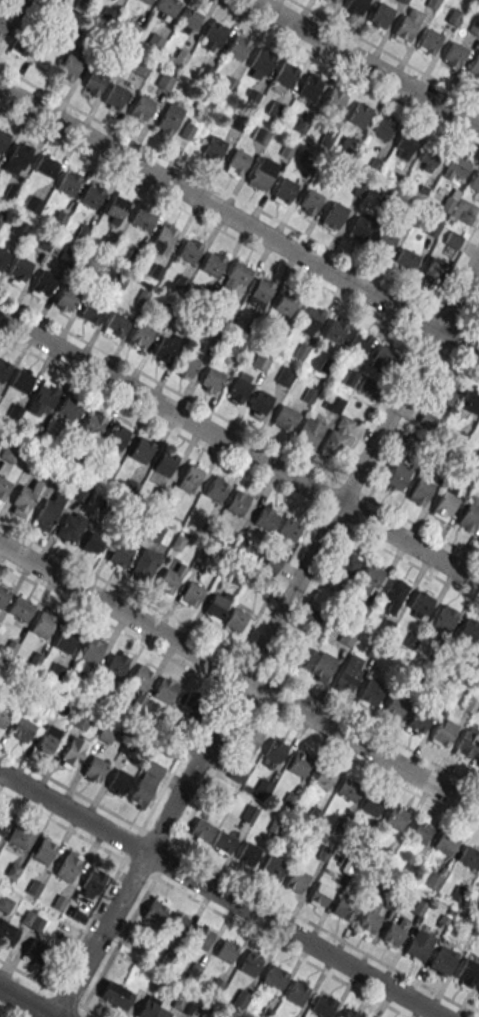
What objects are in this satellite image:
building: (146, 1)
building: (333, 1)
building: (403, 1)
building: (431, 4)
building: (167, 6)
building: (355, 6)
building: (381, 15)
building: (453, 16)
building: (191, 19)
building: (3, 26)
building: (474, 27)
building: (405, 28)
building: (214, 34)
building: (154, 42)
building: (430, 42)
building: (23, 44)
building: (238, 48)
road: (384, 52)
building: (454, 54)
building: (178, 56)
building: (262, 60)
road: (363, 63)
building: (69, 67)
building: (141, 67)
building: (474, 68)
road: (347, 72)
building: (286, 74)
building: (165, 81)
building: (93, 82)
building: (310, 88)
building: (115, 97)
building: (335, 102)
building: (141, 109)
building: (359, 114)
building: (169, 120)
building: (383, 127)
building: (187, 130)
building: (3, 139)
building: (407, 140)
building: (347, 147)
building: (214, 149)
building: (17, 158)
building: (430, 158)
building: (238, 163)
building: (46, 165)
building: (456, 166)
building: (261, 176)
building: (68, 183)
building: (474, 183)
building: (11, 191)
building: (284, 191)
building: (91, 196)
road: (239, 199)
building: (309, 202)
building: (33, 203)
building: (116, 207)
building: (464, 211)
building: (1, 214)
building: (334, 215)
building: (59, 219)
building: (142, 219)
road: (239, 221)
building: (20, 228)
building: (359, 229)
building: (83, 231)
building: (163, 239)
building: (44, 241)
road: (239, 241)
building: (383, 243)
building: (107, 244)
building: (190, 249)
building: (2, 255)
building: (68, 255)
building: (405, 259)
building: (213, 263)
building: (93, 268)
building: (436, 269)
building: (19, 271)
building: (238, 275)
building: (42, 285)
building: (260, 292)
building: (65, 299)
building: (285, 304)
building: (92, 312)
building: (311, 318)
building: (116, 325)
building: (335, 329)
building: (140, 336)
building: (358, 343)
building: (165, 348)
building: (237, 349)
building: (384, 357)
building: (259, 361)
building: (187, 364)
building: (3, 369)
building: (212, 378)
building: (22, 379)
building: (368, 387)
building: (239, 388)
building: (445, 391)
building: (43, 398)
building: (470, 400)
building: (260, 401)
building: (333, 402)
building: (68, 413)
building: (284, 417)
building: (426, 421)
building: (93, 424)
road: (239, 426)
building: (309, 430)
building: (337, 437)
building: (114, 440)
building: (141, 449)
road: (239, 450)
building: (10, 452)
building: (165, 462)
building: (396, 475)
building: (190, 478)
building: (3, 487)
building: (216, 489)
building: (420, 491)
building: (82, 492)
building: (24, 499)
building: (238, 503)
building: (445, 503)
building: (48, 512)
building: (470, 515)
building: (266, 517)
building: (71, 526)
building: (290, 529)
building: (478, 540)
building: (93, 543)
building: (122, 550)
building: (145, 563)
building: (272, 563)
building: (348, 564)
road: (325, 568)
building: (170, 579)
building: (367, 582)
building: (335, 584)
road: (270, 593)
building: (395, 593)
building: (192, 594)
building: (3, 595)
building: (420, 604)
building: (217, 605)
building: (20, 608)
building: (312, 617)
building: (236, 619)
building: (444, 619)
building: (43, 624)
building: (467, 632)
road: (267, 636)
building: (65, 640)
building: (478, 650)
building: (91, 651)
road: (239, 655)
building: (302, 656)
building: (116, 663)
building: (322, 667)
building: (55, 674)
building: (349, 674)
building: (141, 676)
road: (239, 678)
building: (166, 689)
building: (370, 693)
road: (239, 697)
building: (192, 705)
building: (394, 706)
building: (3, 717)
building: (82, 719)
building: (418, 721)
building: (22, 729)
building: (444, 732)
building: (107, 733)
building: (47, 739)
building: (248, 742)
building: (466, 745)
building: (275, 750)
building: (73, 751)
building: (299, 764)
building: (95, 768)
building: (478, 768)
building: (324, 777)
building: (118, 782)
building: (146, 784)
building: (348, 790)
building: (372, 804)
building: (396, 818)
building: (3, 824)
road: (61, 825)
building: (202, 830)
building: (420, 831)
building: (20, 836)
building: (223, 841)
building: (443, 842)
building: (43, 851)
building: (248, 854)
building: (468, 857)
road: (203, 863)
building: (67, 866)
building: (273, 868)
building: (96, 880)
building: (432, 880)
building: (297, 881)
road: (220, 895)
building: (320, 895)
building: (4, 904)
building: (345, 907)
building: (155, 911)
building: (369, 919)
building: (177, 924)
building: (7, 933)
building: (394, 933)
building: (202, 936)
building: (419, 945)
road: (280, 947)
building: (35, 951)
building: (226, 951)
building: (443, 958)
building: (250, 962)
building: (468, 970)
building: (274, 978)
road: (41, 983)
building: (477, 991)
building: (297, 992)
building: (115, 995)
road: (24, 1003)
building: (185, 1005)
building: (323, 1005)
building: (151, 1010)
building: (350, 1014)

